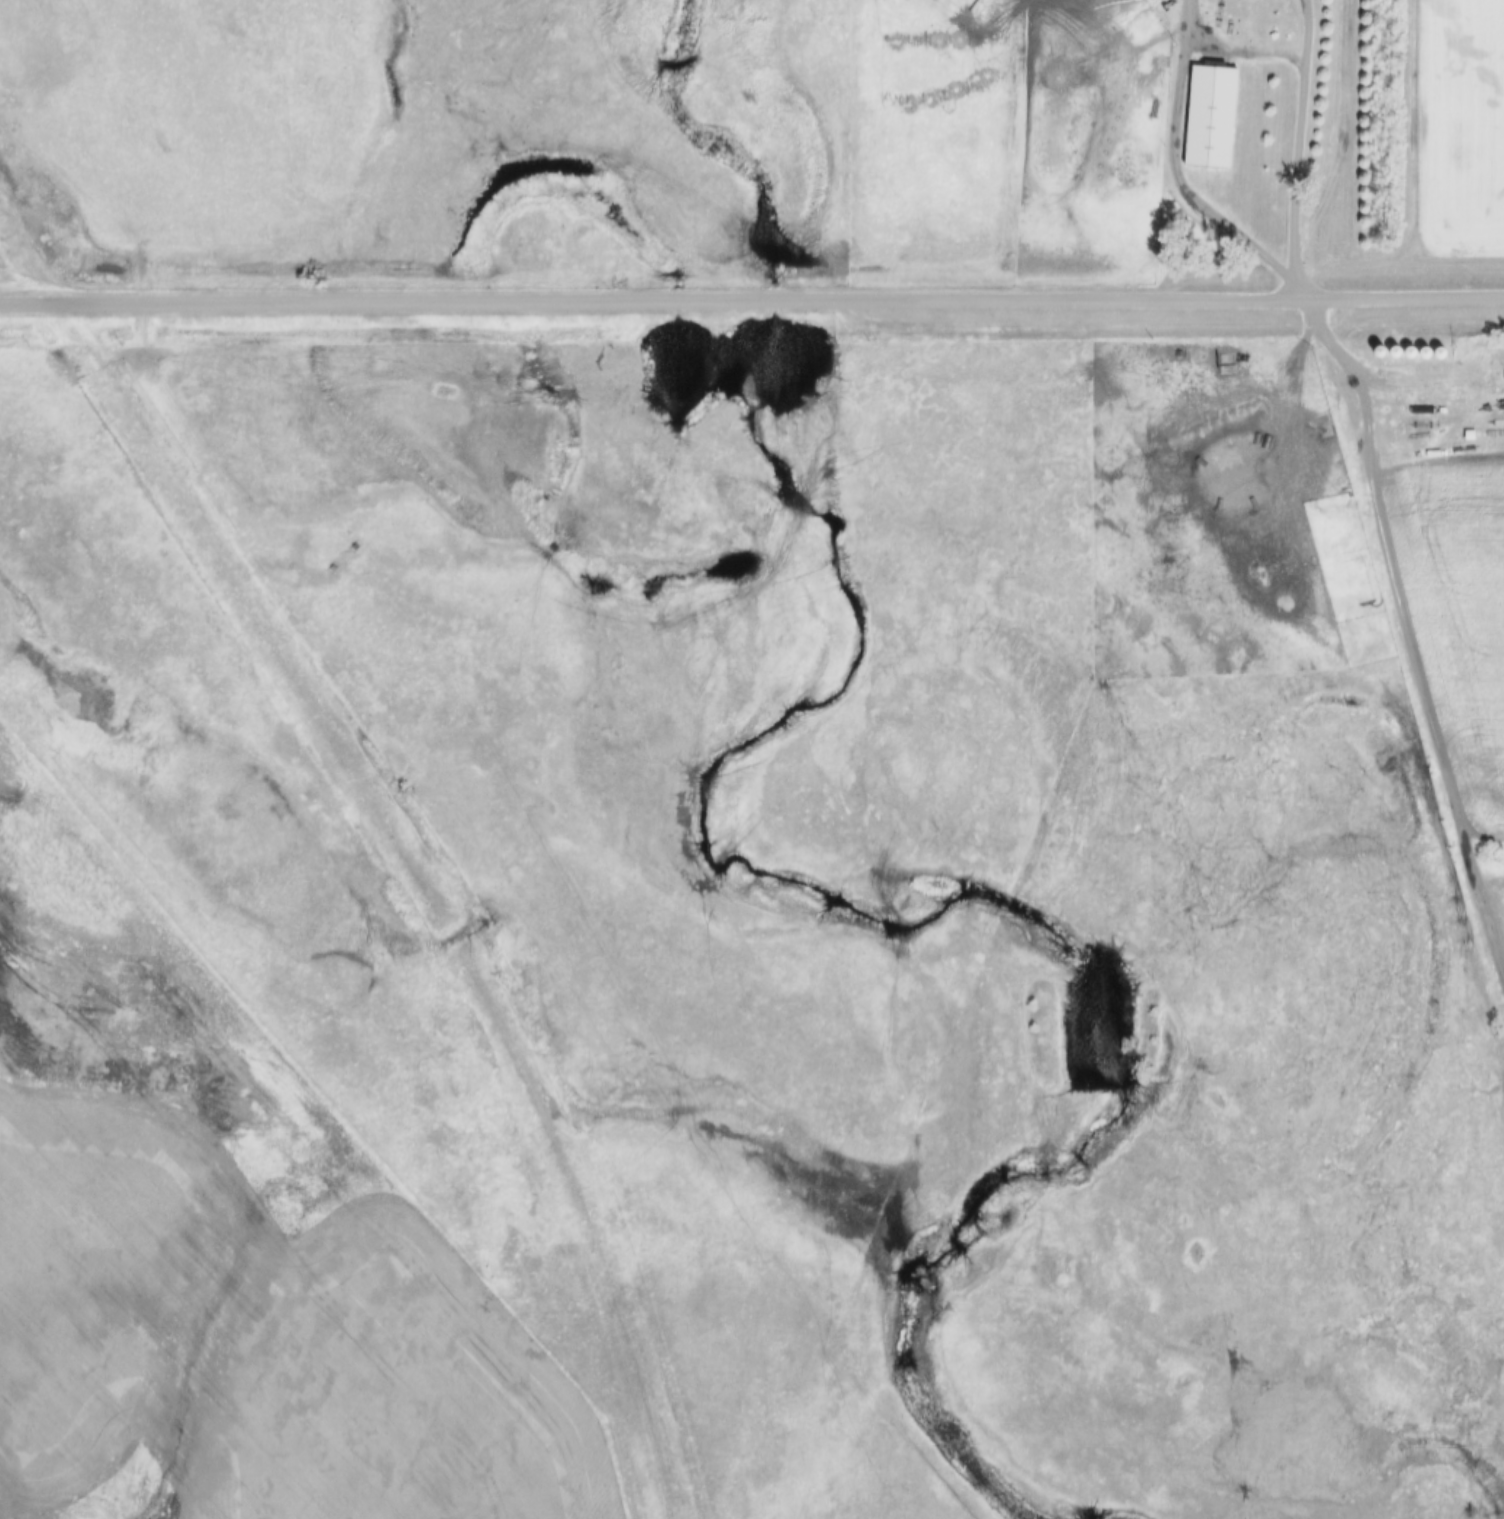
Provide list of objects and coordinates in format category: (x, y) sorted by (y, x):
building: (1213, 117)
road: (1304, 125)
road: (1332, 126)
road: (1180, 165)
road: (1300, 272)
road: (751, 298)
road: (1329, 345)
building: (1327, 566)
road: (1423, 683)

